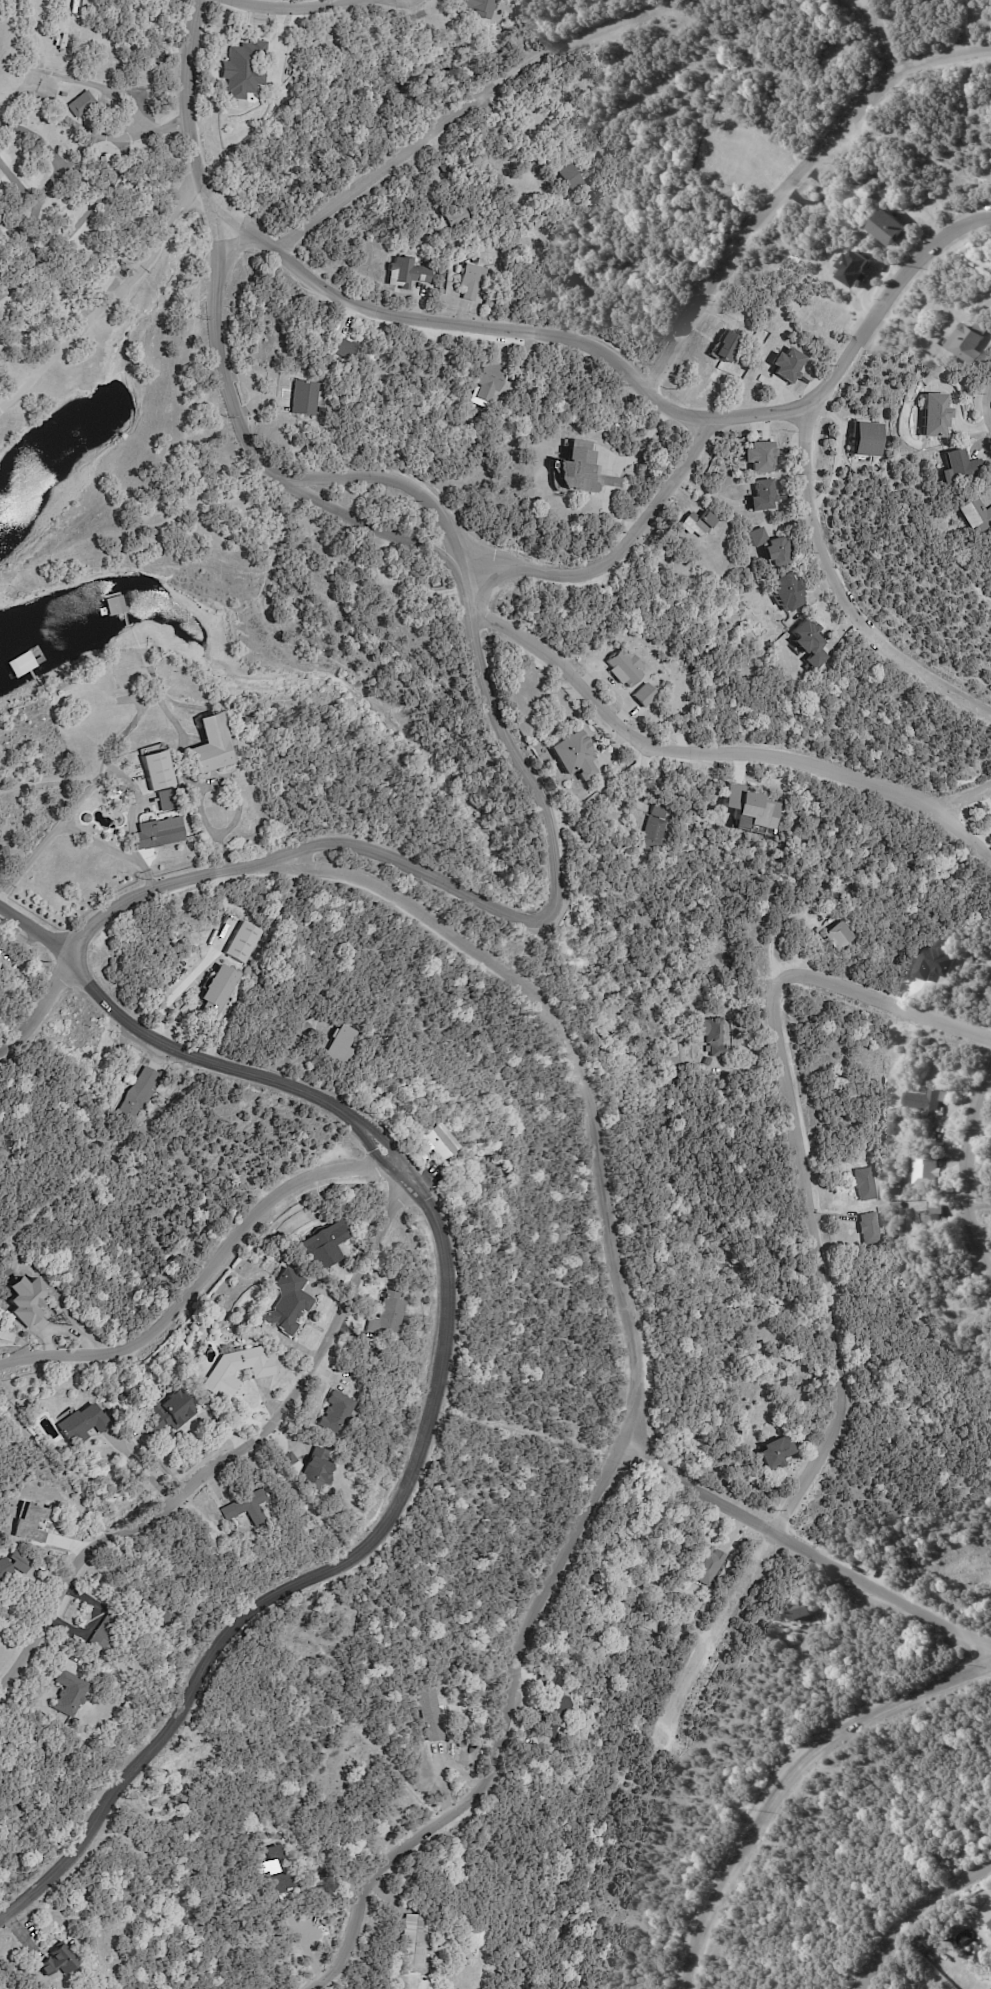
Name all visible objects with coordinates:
building: (481, 8)
road: (295, 9)
road: (864, 31)
building: (243, 71)
road: (96, 86)
building: (63, 94)
building: (82, 106)
road: (188, 117)
road: (442, 139)
building: (573, 177)
road: (794, 180)
building: (867, 192)
building: (457, 217)
building: (831, 220)
road: (166, 221)
building: (894, 227)
building: (680, 256)
building: (407, 273)
building: (473, 280)
building: (490, 301)
road: (83, 327)
building: (973, 342)
building: (729, 346)
building: (345, 348)
road: (220, 363)
building: (790, 365)
building: (492, 380)
road: (638, 382)
road: (12, 398)
building: (307, 398)
building: (935, 415)
road: (989, 418)
building: (872, 441)
building: (762, 457)
building: (961, 467)
building: (584, 470)
road: (397, 480)
building: (763, 496)
building: (976, 516)
building: (700, 524)
road: (375, 527)
building: (773, 548)
road: (620, 549)
building: (787, 593)
road: (845, 594)
building: (809, 637)
building: (623, 667)
building: (643, 695)
building: (65, 700)
building: (212, 744)
building: (575, 754)
road: (722, 754)
building: (157, 768)
road: (201, 789)
road: (964, 794)
building: (167, 799)
building: (661, 810)
building: (159, 832)
building: (653, 833)
road: (226, 869)
road: (557, 875)
building: (843, 934)
building: (242, 941)
building: (4, 958)
building: (932, 962)
building: (222, 990)
building: (714, 1035)
building: (344, 1044)
road: (186, 1053)
building: (709, 1061)
building: (430, 1079)
building: (375, 1092)
building: (142, 1093)
building: (930, 1099)
building: (439, 1142)
building: (933, 1168)
road: (969, 1182)
building: (865, 1184)
road: (602, 1191)
road: (978, 1205)
building: (936, 1218)
building: (872, 1228)
building: (323, 1246)
road: (827, 1267)
road: (204, 1276)
building: (28, 1300)
building: (288, 1302)
building: (386, 1316)
building: (238, 1370)
building: (171, 1413)
building: (337, 1413)
building: (83, 1424)
building: (1, 1428)
road: (236, 1446)
building: (778, 1452)
building: (287, 1461)
building: (317, 1471)
building: (243, 1513)
building: (31, 1525)
road: (799, 1546)
building: (20, 1562)
building: (709, 1563)
building: (4, 1569)
road: (314, 1572)
building: (805, 1609)
building: (145, 1610)
building: (163, 1618)
building: (105, 1632)
building: (70, 1694)
building: (556, 1705)
building: (128, 1707)
building: (435, 1714)
road: (491, 1735)
road: (778, 1773)
building: (269, 1867)
building: (990, 1922)
road: (929, 1926)
building: (417, 1943)
building: (58, 1960)
building: (418, 1983)

